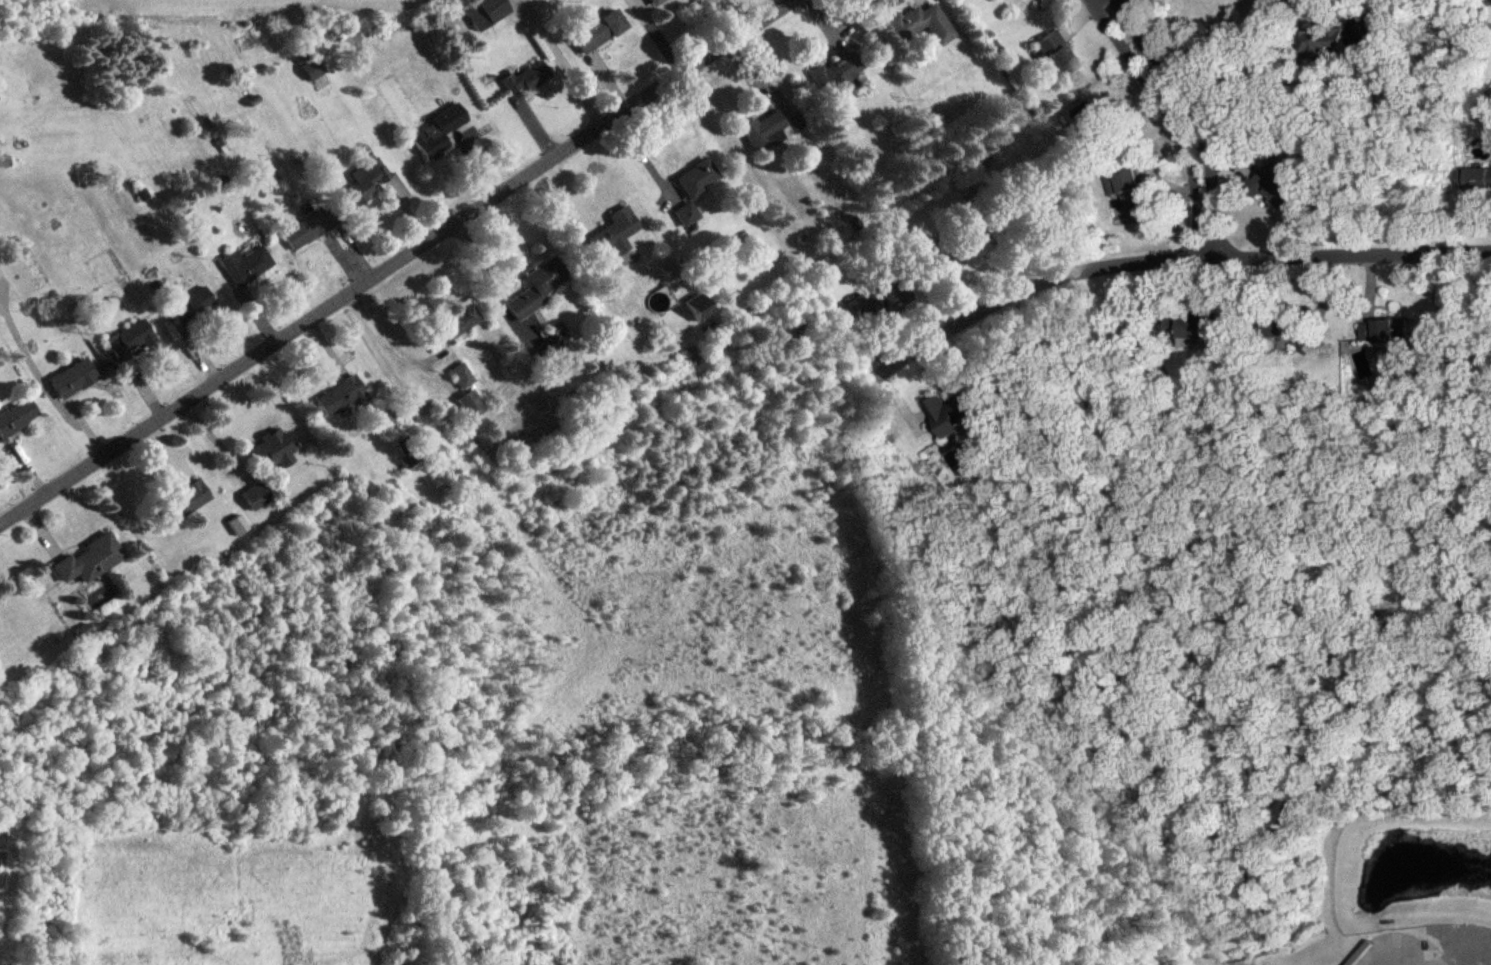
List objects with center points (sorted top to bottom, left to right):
building: (651, 1)
building: (480, 9)
building: (918, 23)
building: (595, 30)
building: (1322, 43)
building: (1052, 51)
road: (561, 63)
building: (308, 66)
building: (835, 74)
building: (523, 79)
building: (252, 101)
road: (1183, 117)
building: (769, 129)
building: (437, 130)
building: (4, 161)
building: (694, 176)
building: (1478, 179)
building: (363, 180)
building: (1276, 186)
building: (1132, 188)
building: (684, 214)
building: (304, 228)
building: (612, 232)
building: (950, 248)
road: (1134, 259)
road: (396, 261)
building: (240, 266)
building: (534, 287)
building: (877, 297)
building: (189, 304)
building: (697, 307)
building: (455, 324)
building: (1281, 325)
building: (1378, 328)
building: (1189, 329)
building: (128, 337)
road: (384, 341)
building: (559, 356)
building: (460, 374)
building: (70, 376)
building: (339, 395)
building: (468, 404)
building: (951, 411)
building: (15, 414)
building: (271, 447)
building: (404, 448)
building: (252, 495)
building: (181, 500)
building: (235, 524)
building: (85, 559)
building: (77, 628)

